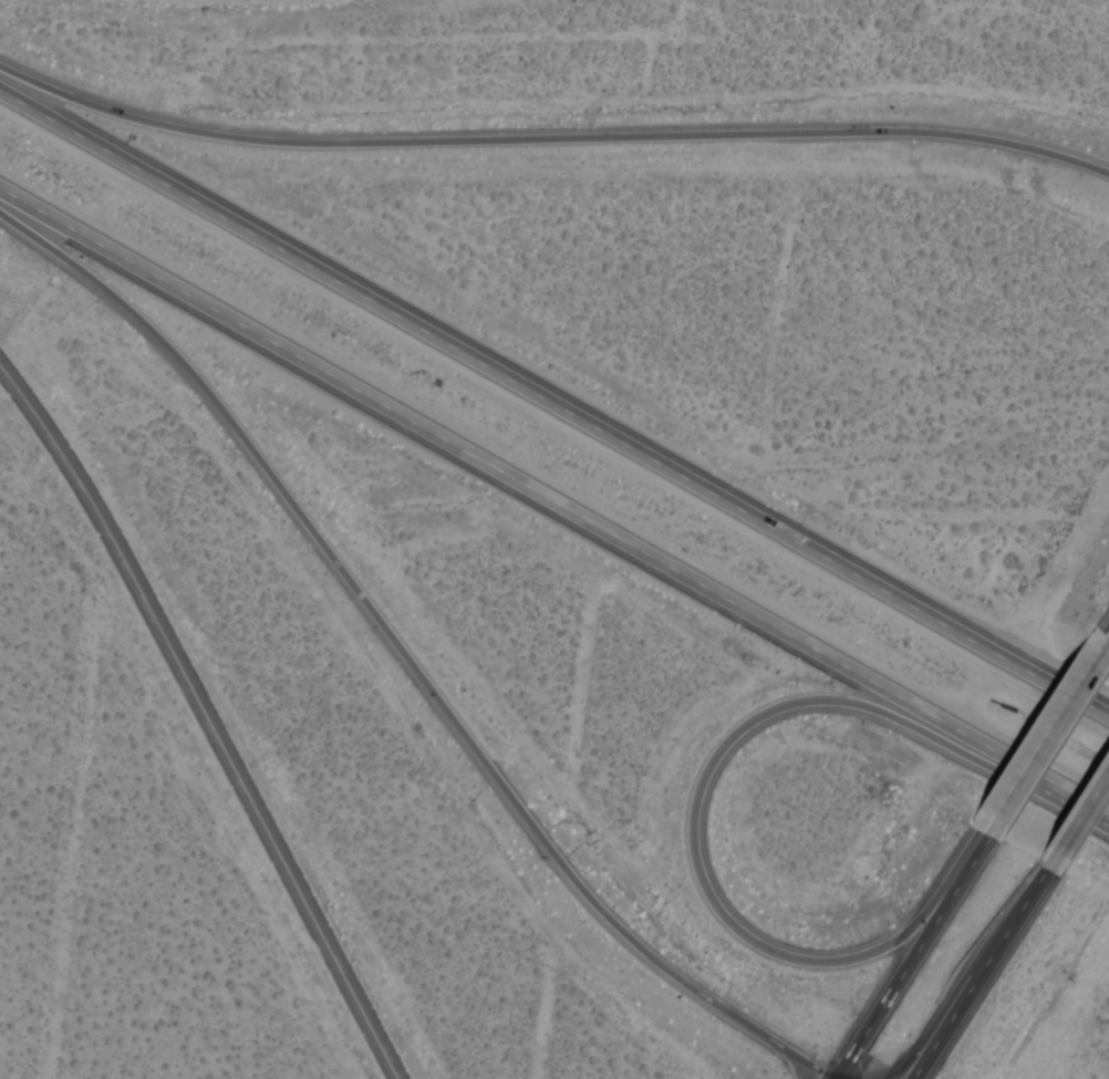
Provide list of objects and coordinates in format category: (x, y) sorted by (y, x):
road: (551, 139)
road: (554, 402)
road: (554, 492)
road: (403, 654)
road: (207, 717)
road: (1045, 736)
road: (711, 776)
road: (1075, 816)
road: (76, 822)
road: (904, 957)
road: (973, 974)
road: (925, 1038)

